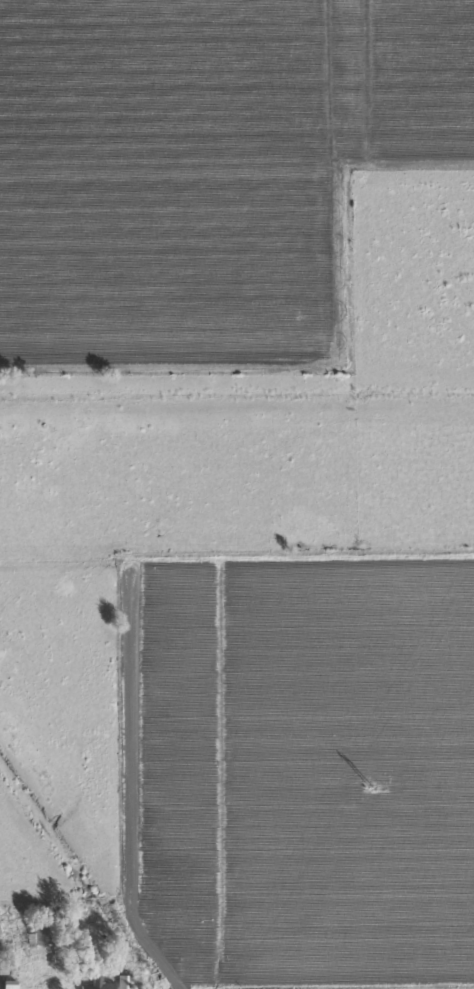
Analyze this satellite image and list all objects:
power tower: (370, 790)
building: (101, 986)

